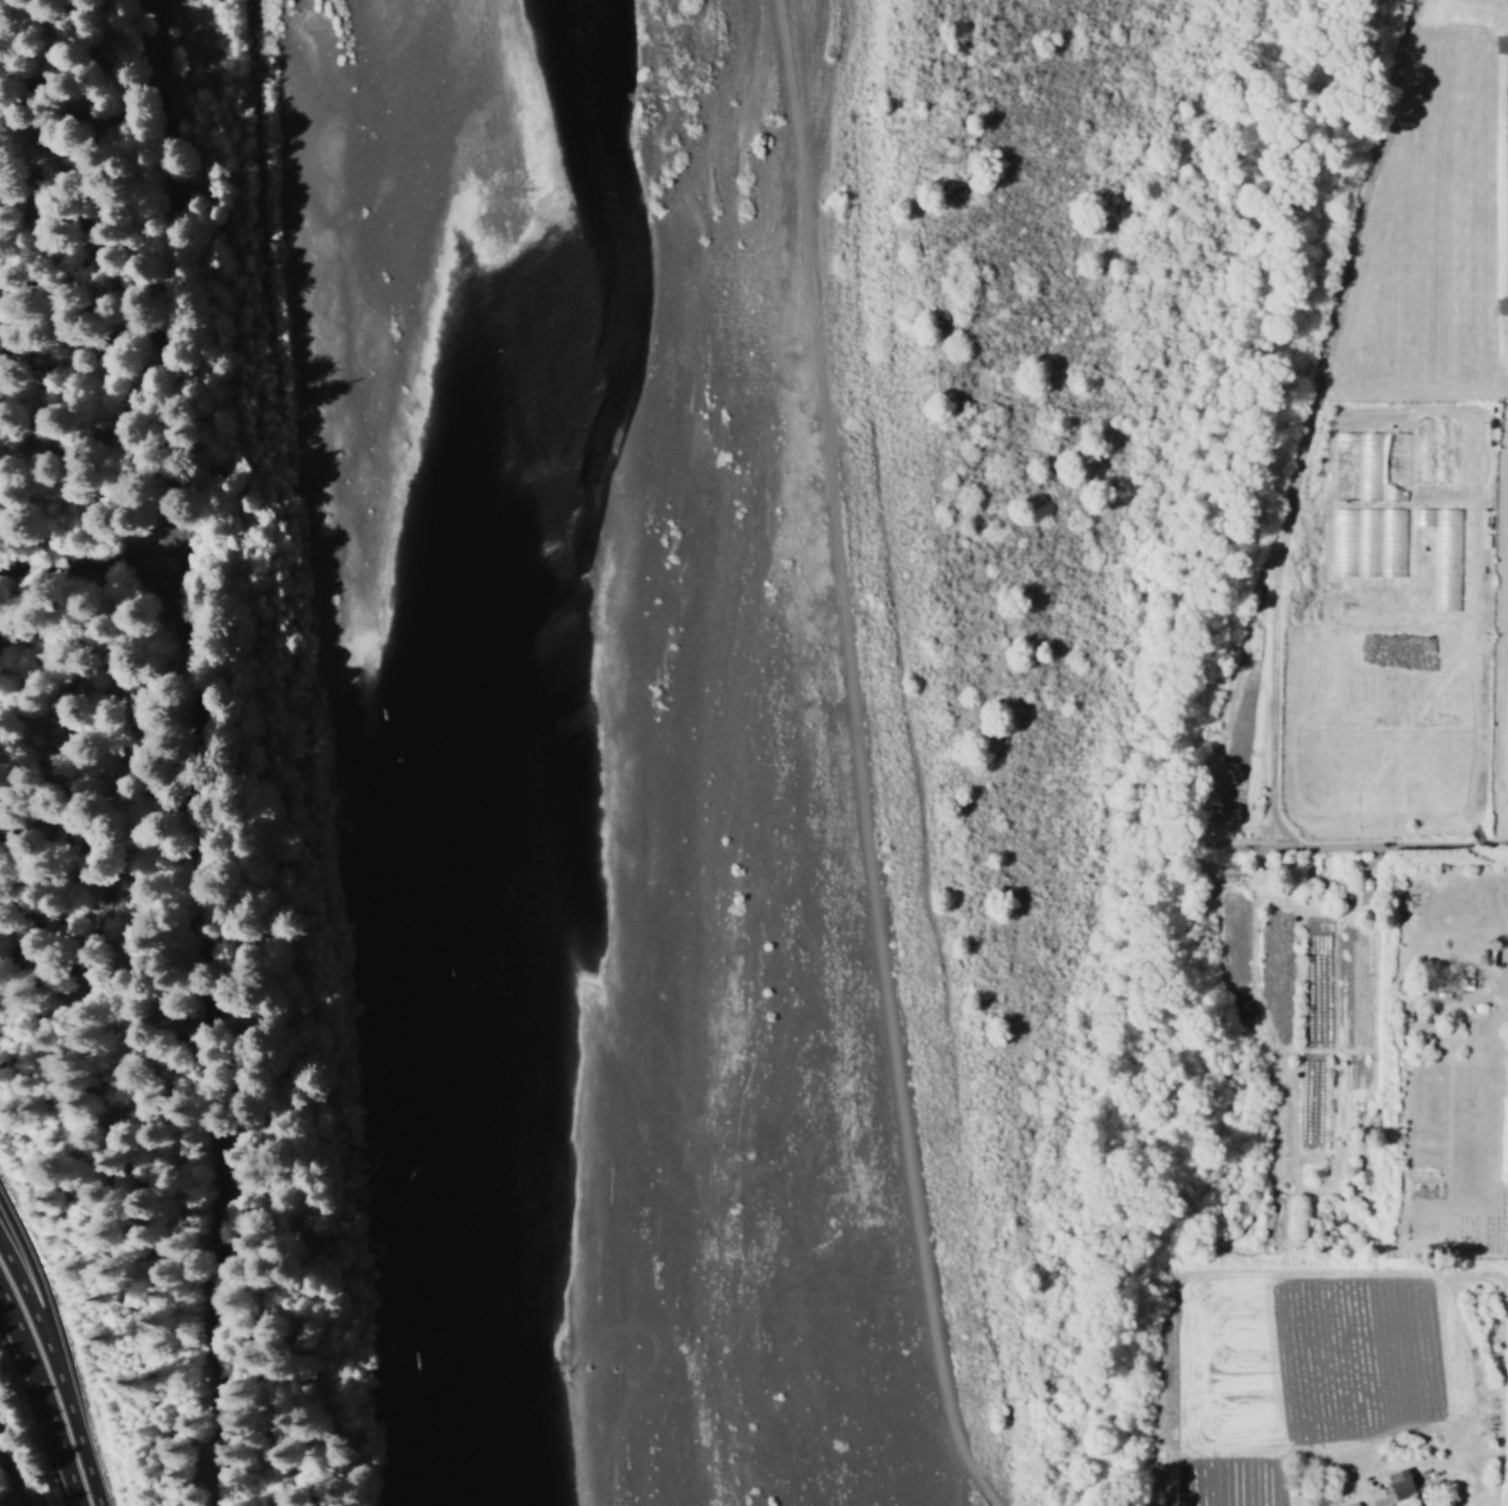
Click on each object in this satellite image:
building: (1368, 543)
road: (91, 557)
river: (967, 752)
road: (184, 753)
road: (1383, 848)
building: (1366, 896)
road: (18, 1250)
road: (13, 1283)
road: (23, 1339)
road: (36, 1339)
road: (68, 1438)
road: (10, 1482)
building: (1396, 1491)
building: (1354, 1504)

